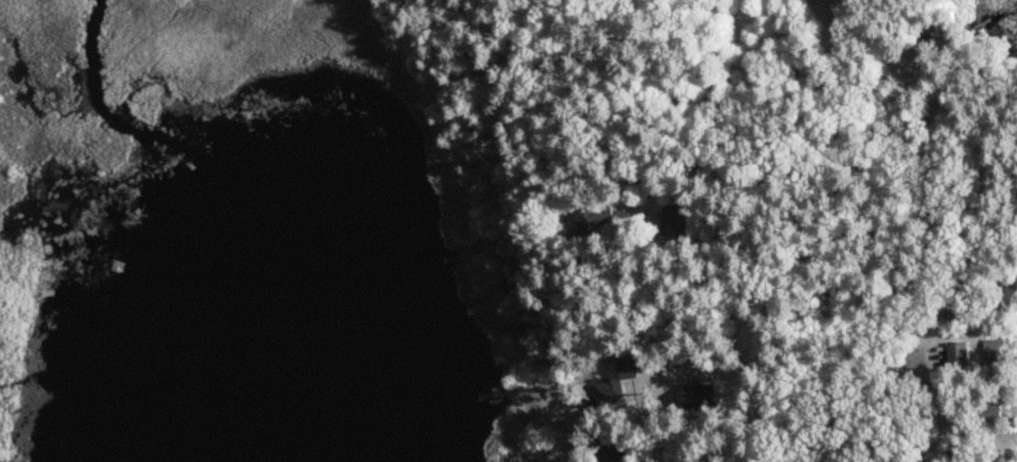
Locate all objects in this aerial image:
road: (972, 236)
building: (1008, 286)
building: (961, 354)
building: (997, 356)
road: (938, 403)
road: (662, 440)
building: (615, 453)

